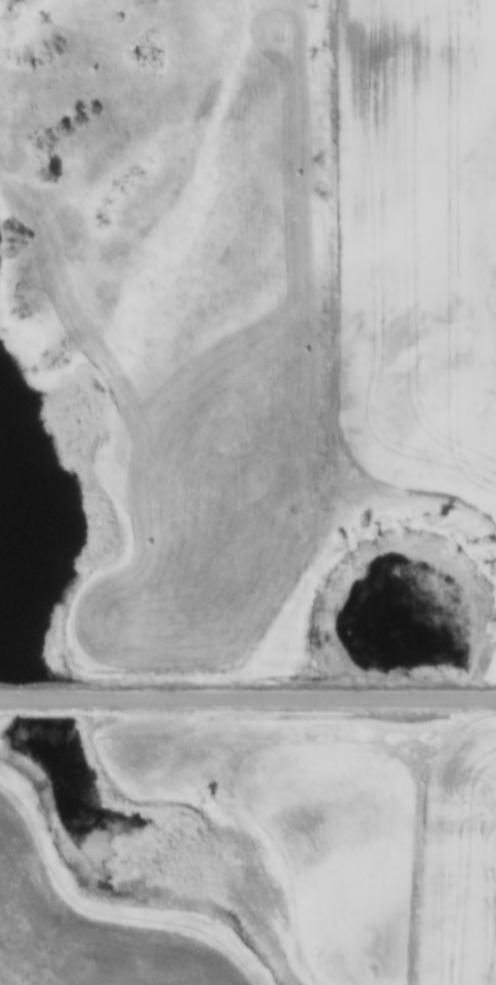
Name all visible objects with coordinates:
road: (248, 692)

